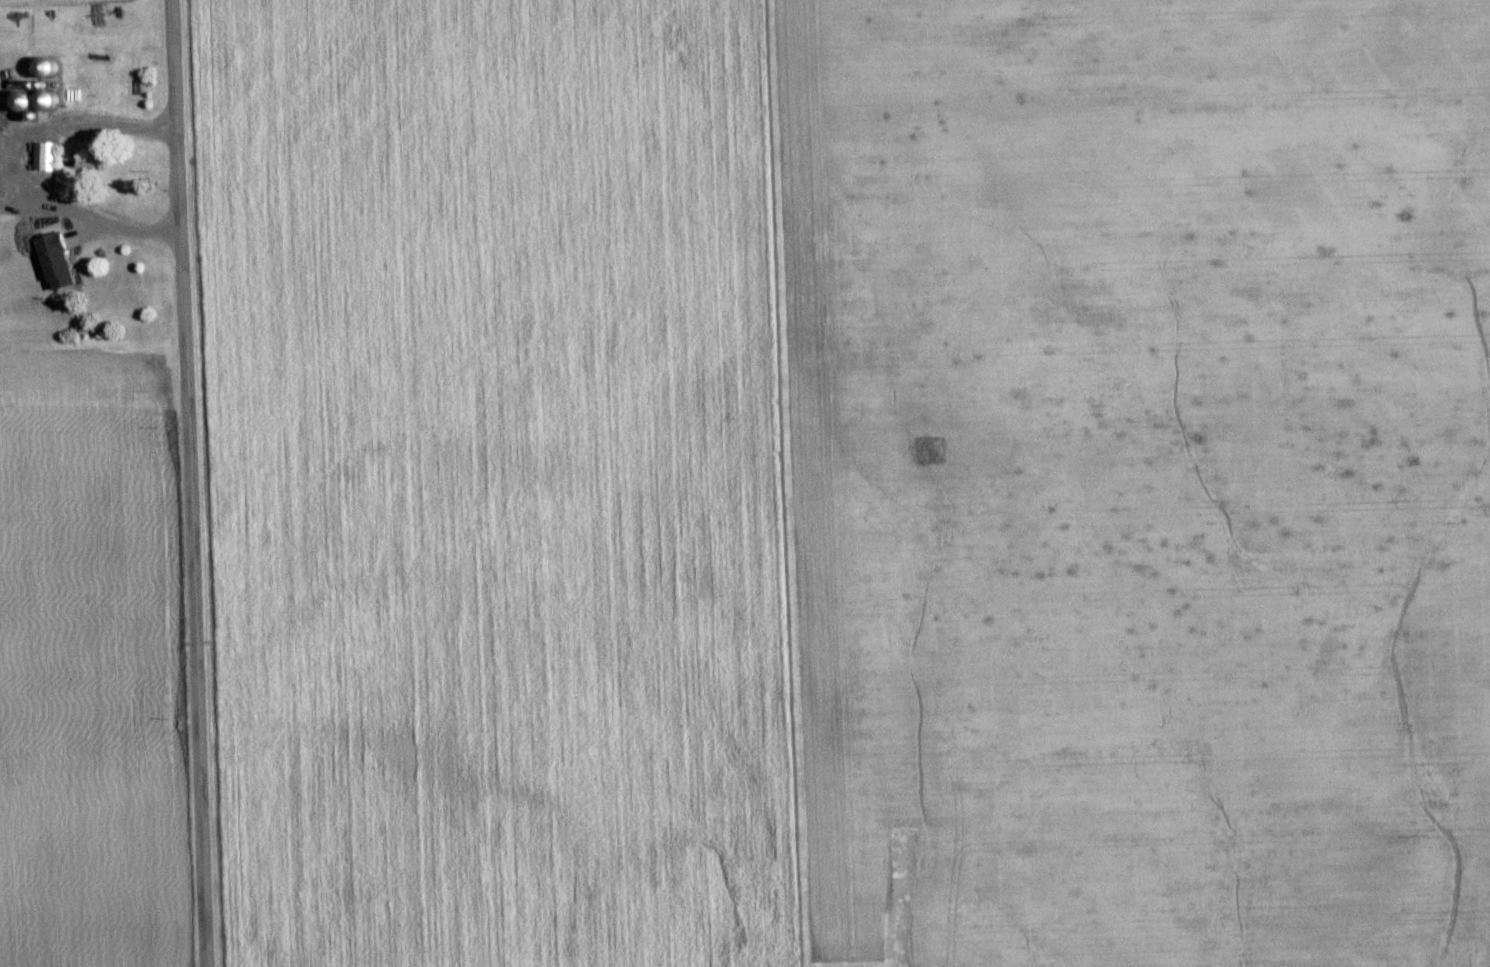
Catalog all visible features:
building: (45, 154)
road: (6, 162)
building: (62, 259)
road: (182, 483)

